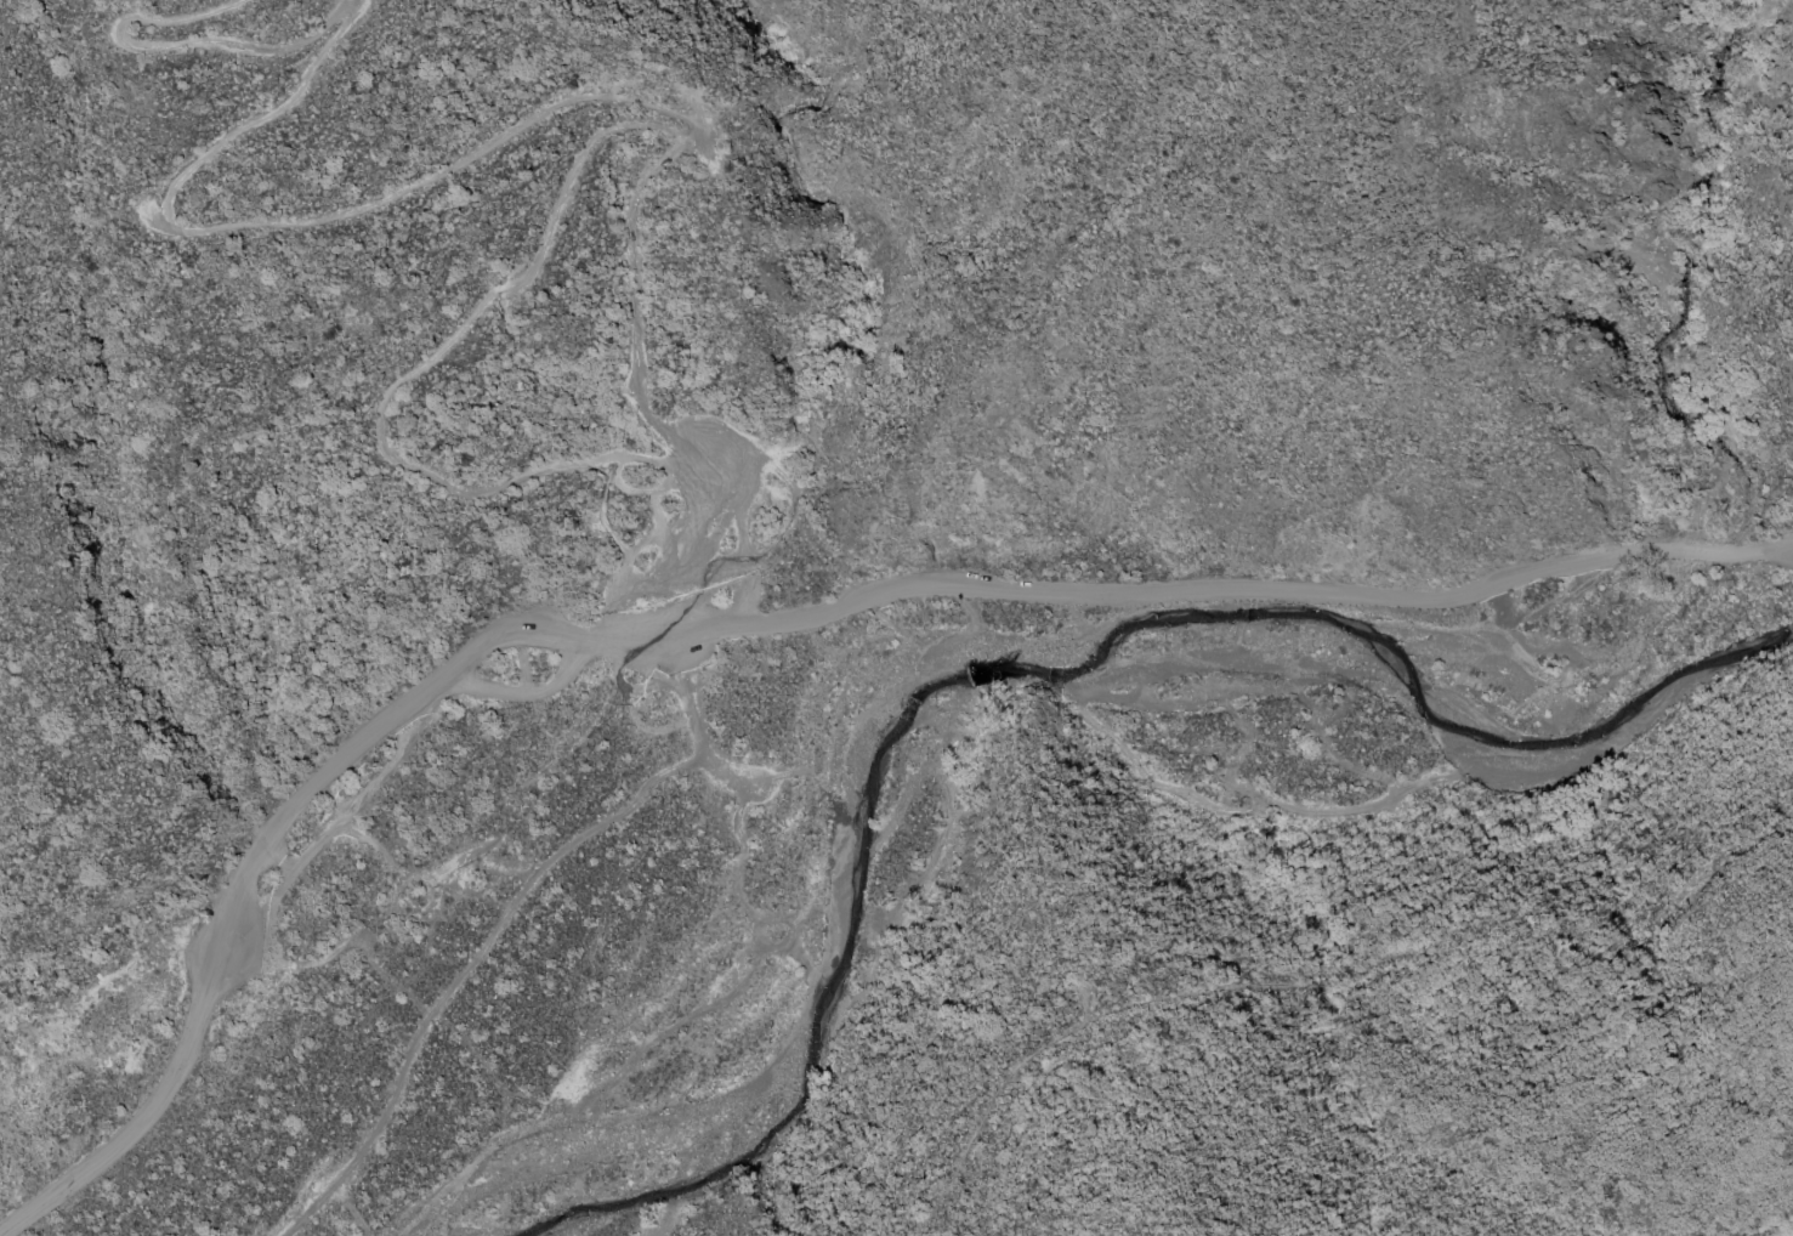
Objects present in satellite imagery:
road: (630, 103)
road: (1778, 549)
road: (1720, 550)
road: (1271, 617)
road: (687, 626)
river: (1009, 671)
road: (1350, 681)
road: (1591, 697)
road: (1316, 722)
road: (1153, 781)
road: (1227, 796)
road: (1321, 812)
road: (1562, 936)
road: (1270, 970)
road: (62, 1009)
road: (982, 1115)

